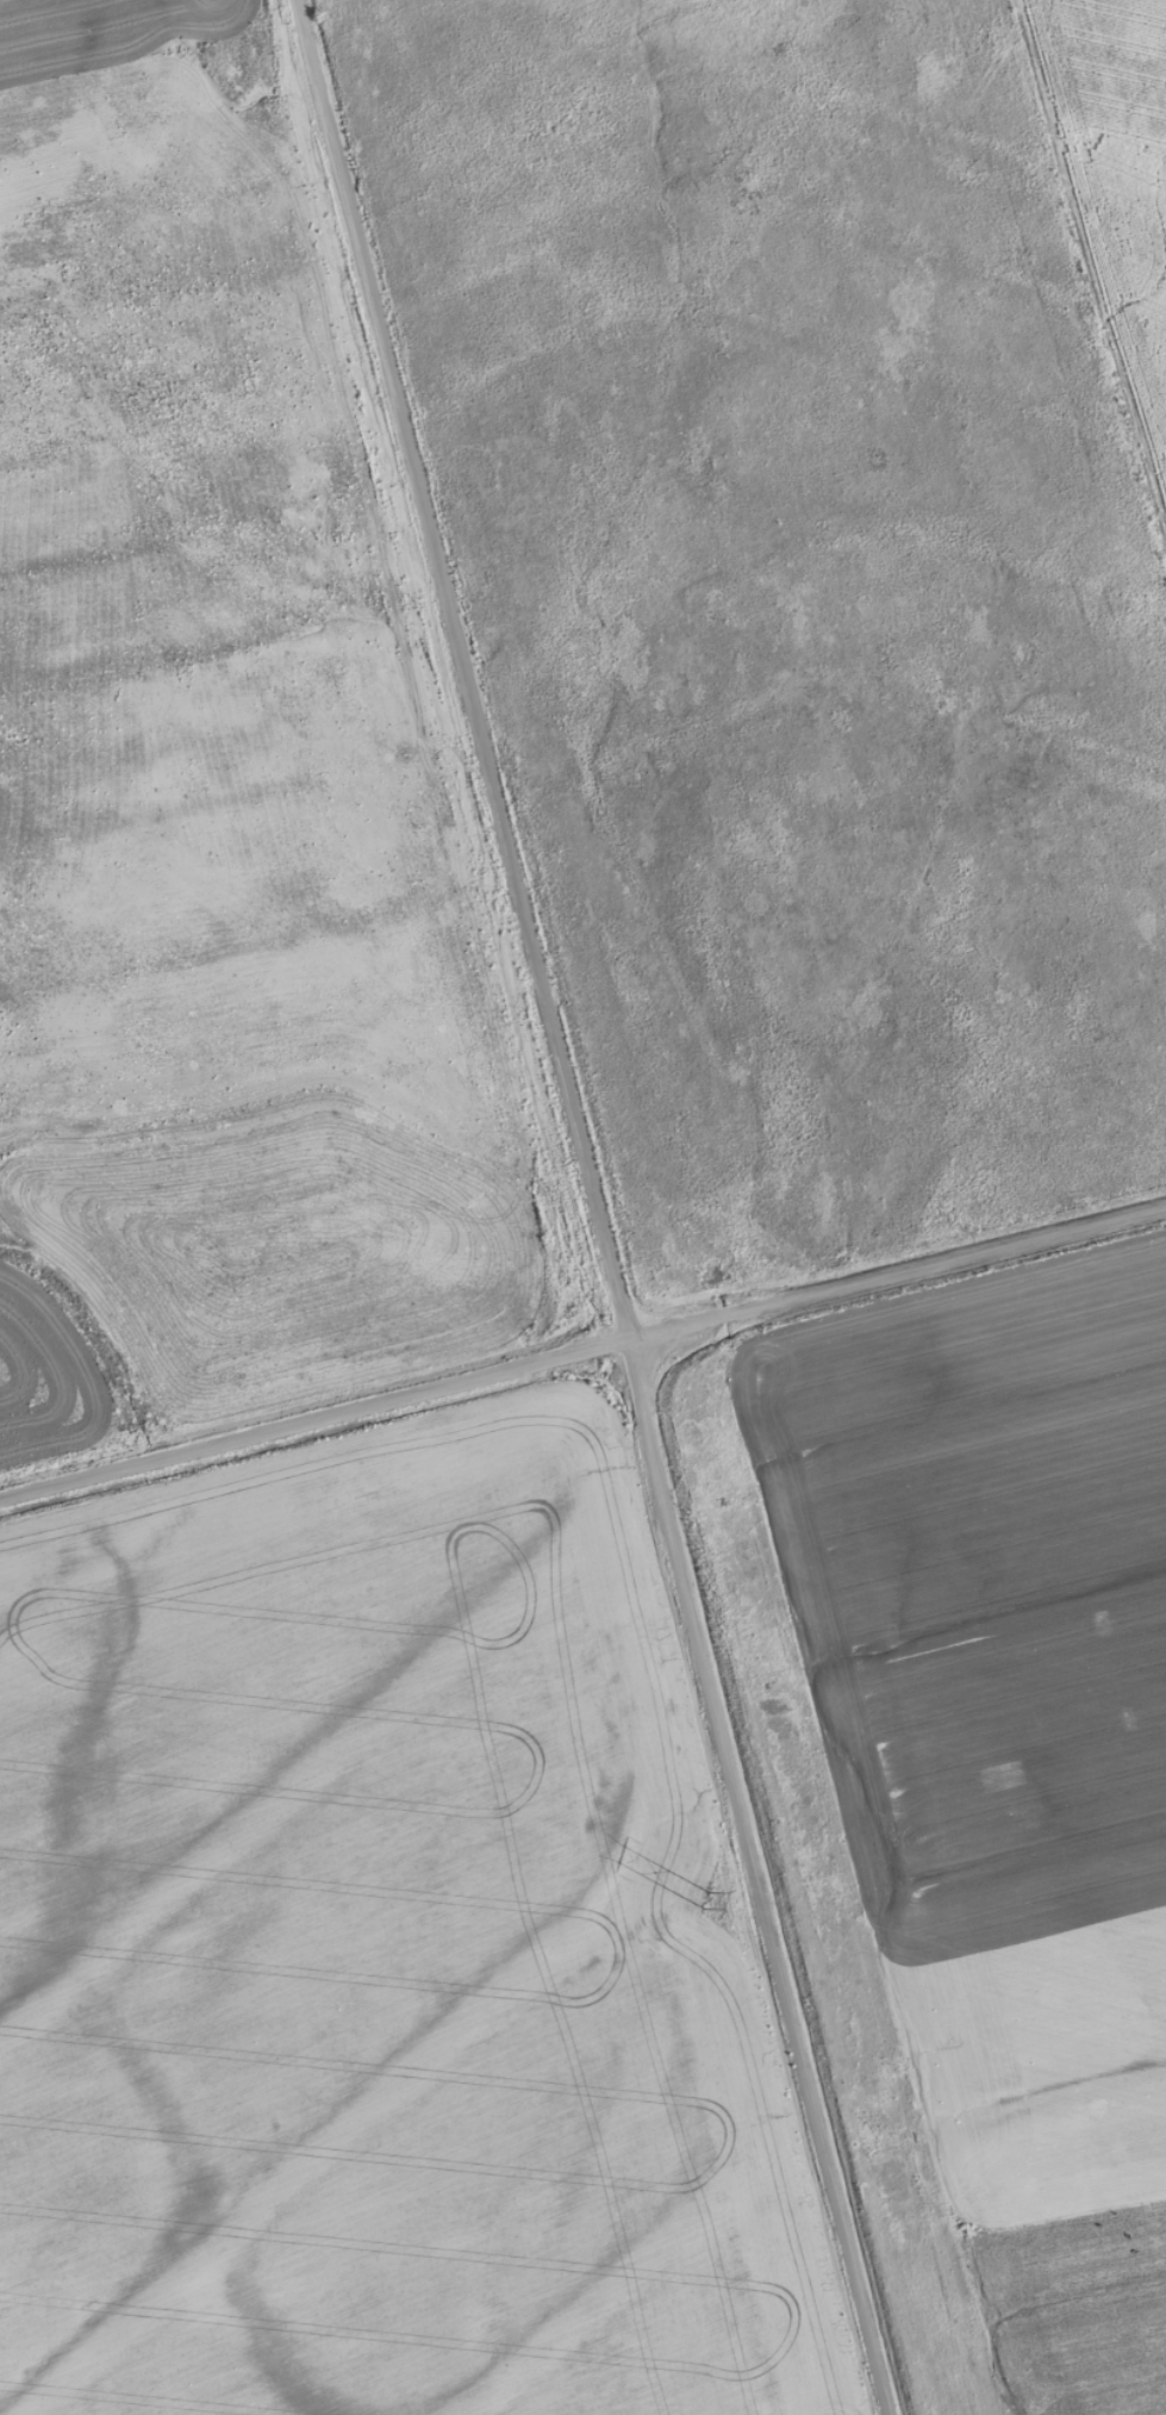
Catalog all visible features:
road: (592, 1207)
road: (582, 1347)
power tower: (700, 1900)

